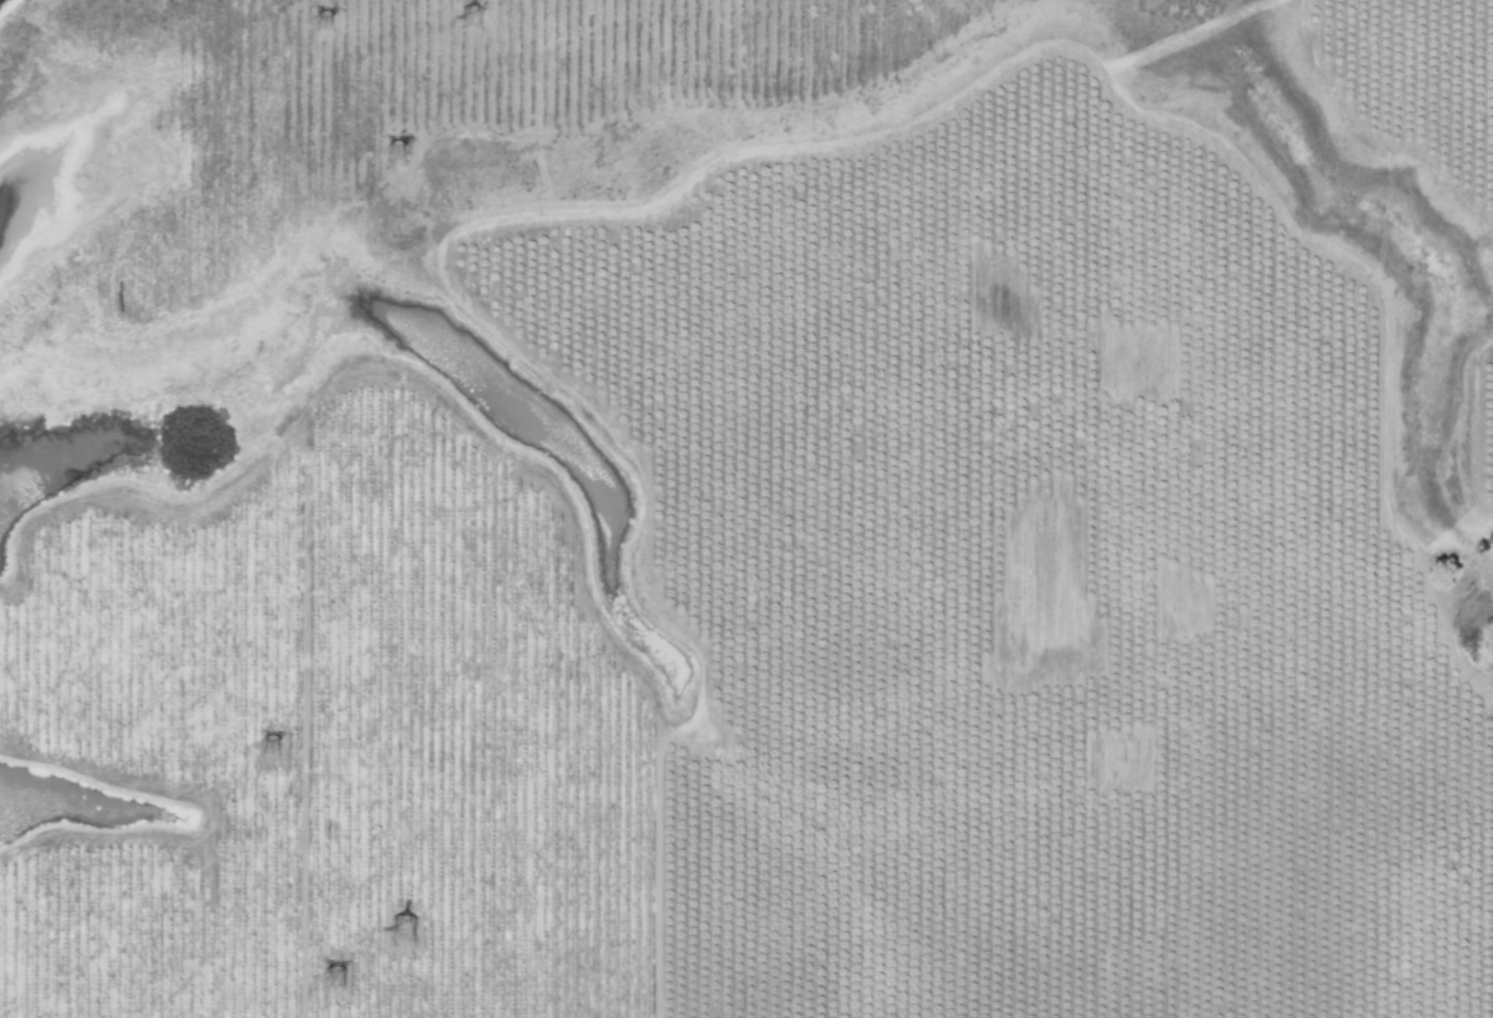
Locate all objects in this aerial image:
power tower: (478, 18)
power tower: (329, 27)
power tower: (388, 155)
power tower: (276, 743)
power tower: (410, 926)
power tower: (327, 980)

